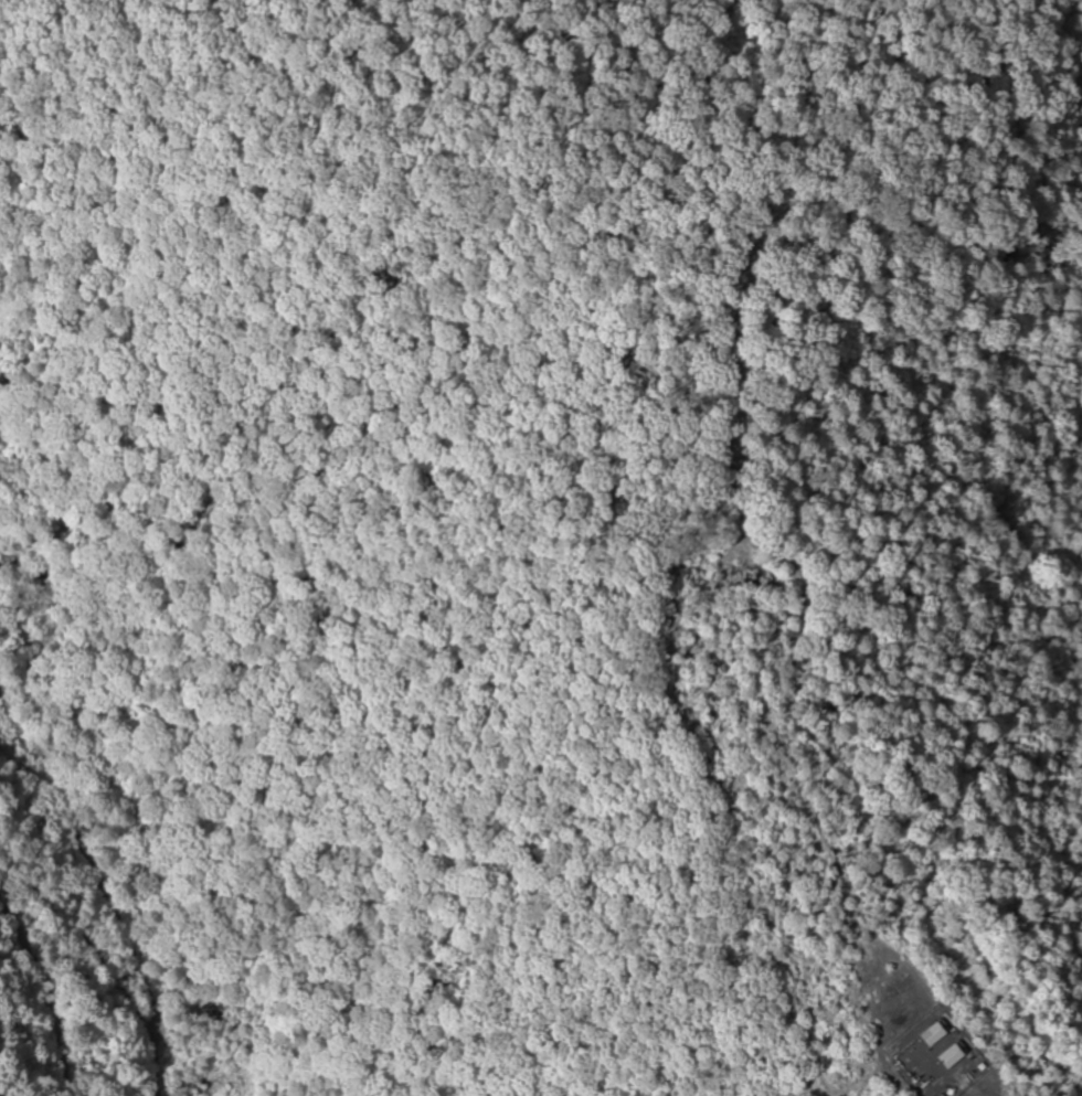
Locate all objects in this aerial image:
building: (932, 1034)
building: (948, 1057)

